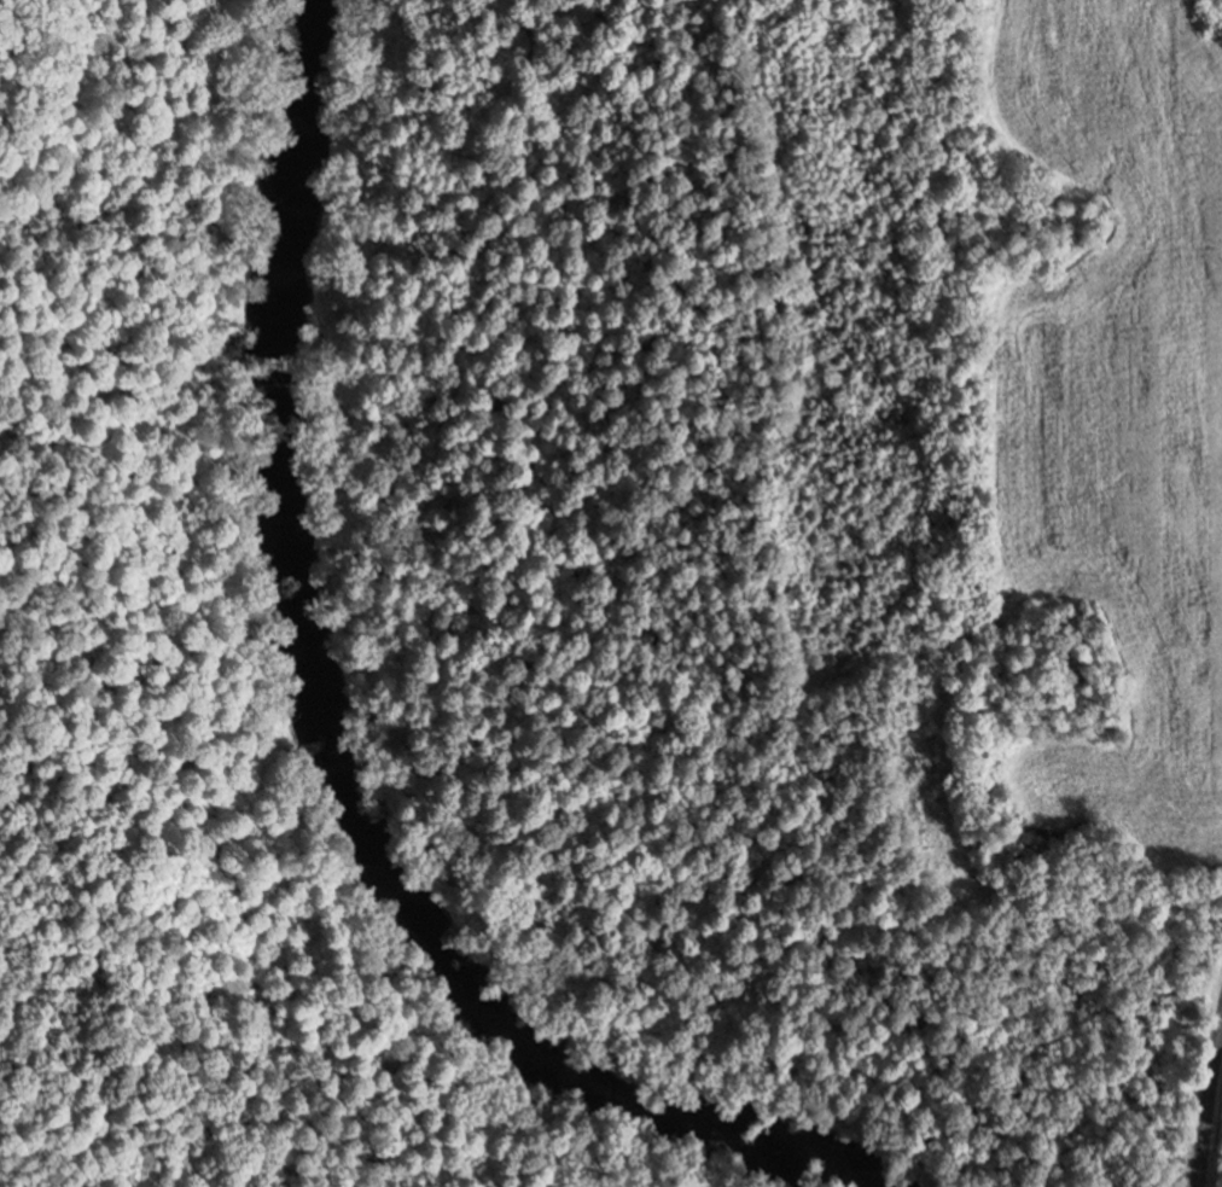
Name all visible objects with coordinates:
road: (1210, 1115)

